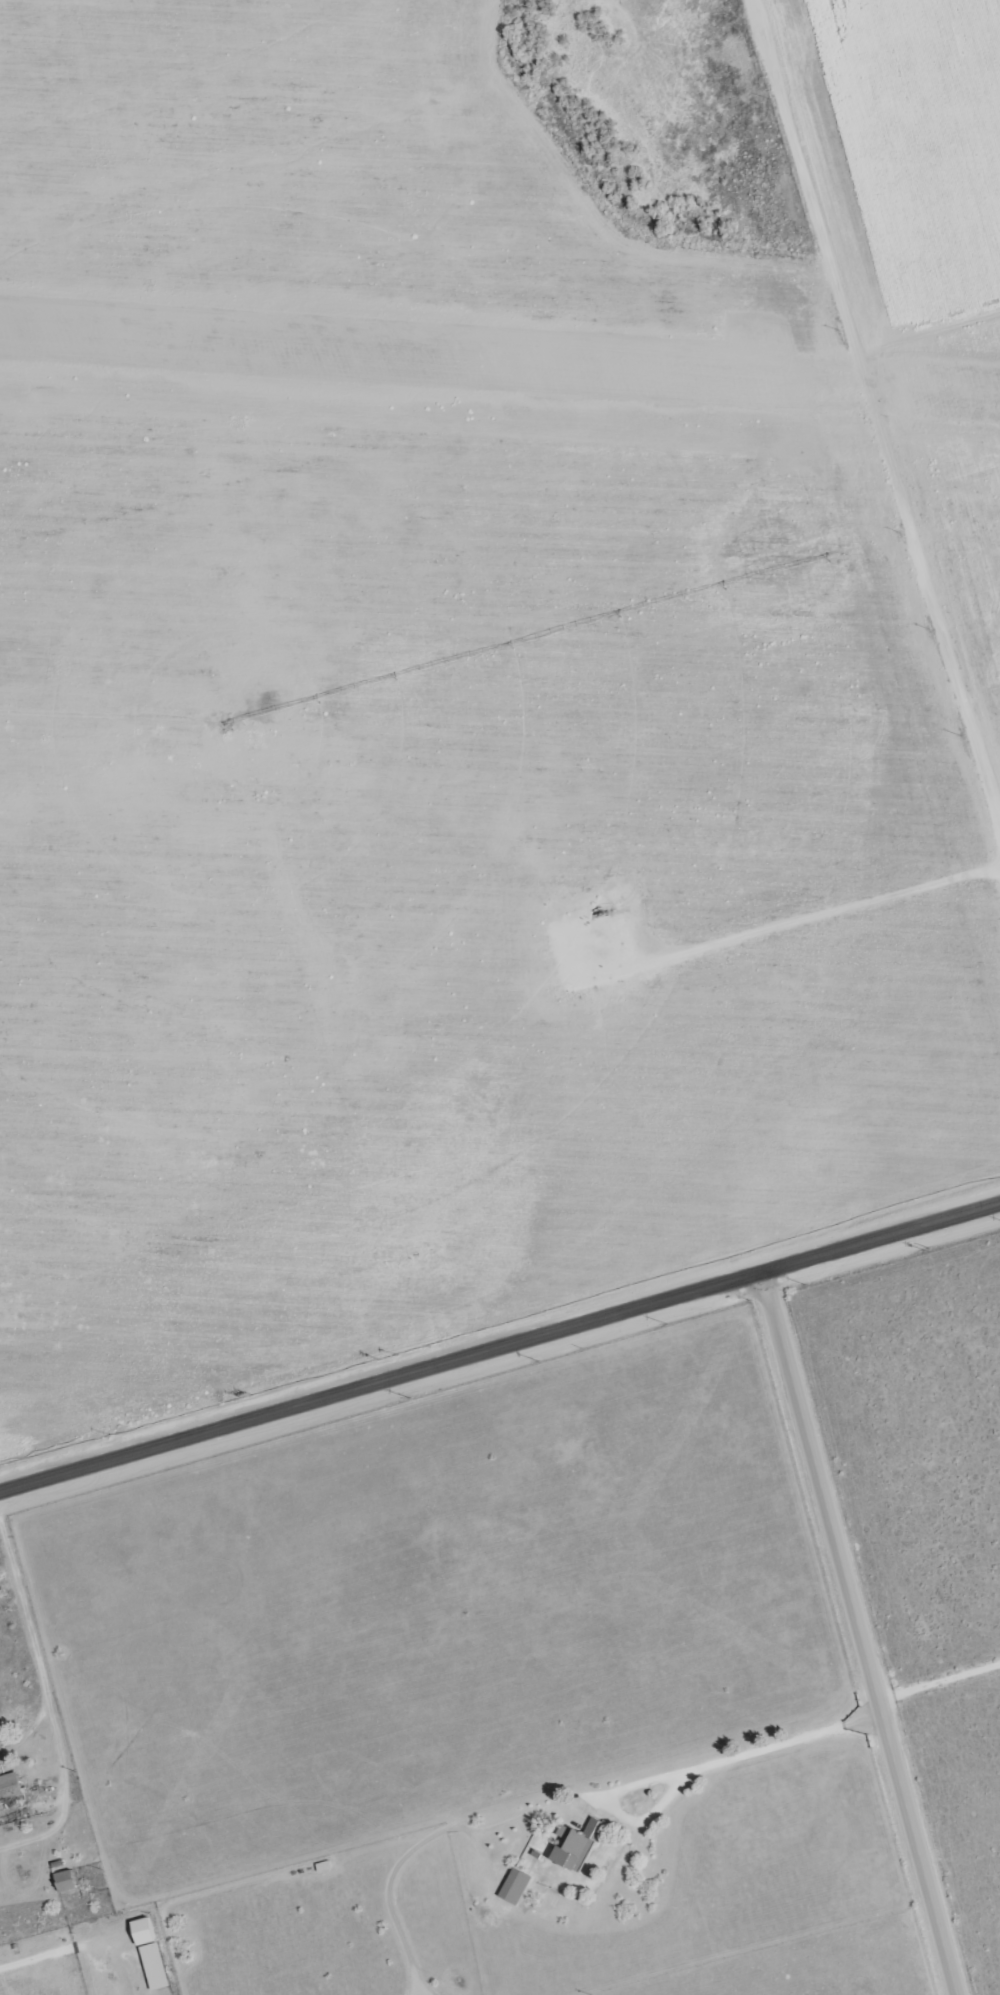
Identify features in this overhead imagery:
road: (875, 427)
crop: (482, 692)
road: (973, 705)
road: (500, 1352)
road: (864, 1653)
road: (695, 1762)
building: (10, 1789)
building: (578, 1848)
building: (66, 1882)
building: (515, 1888)
building: (151, 1955)

